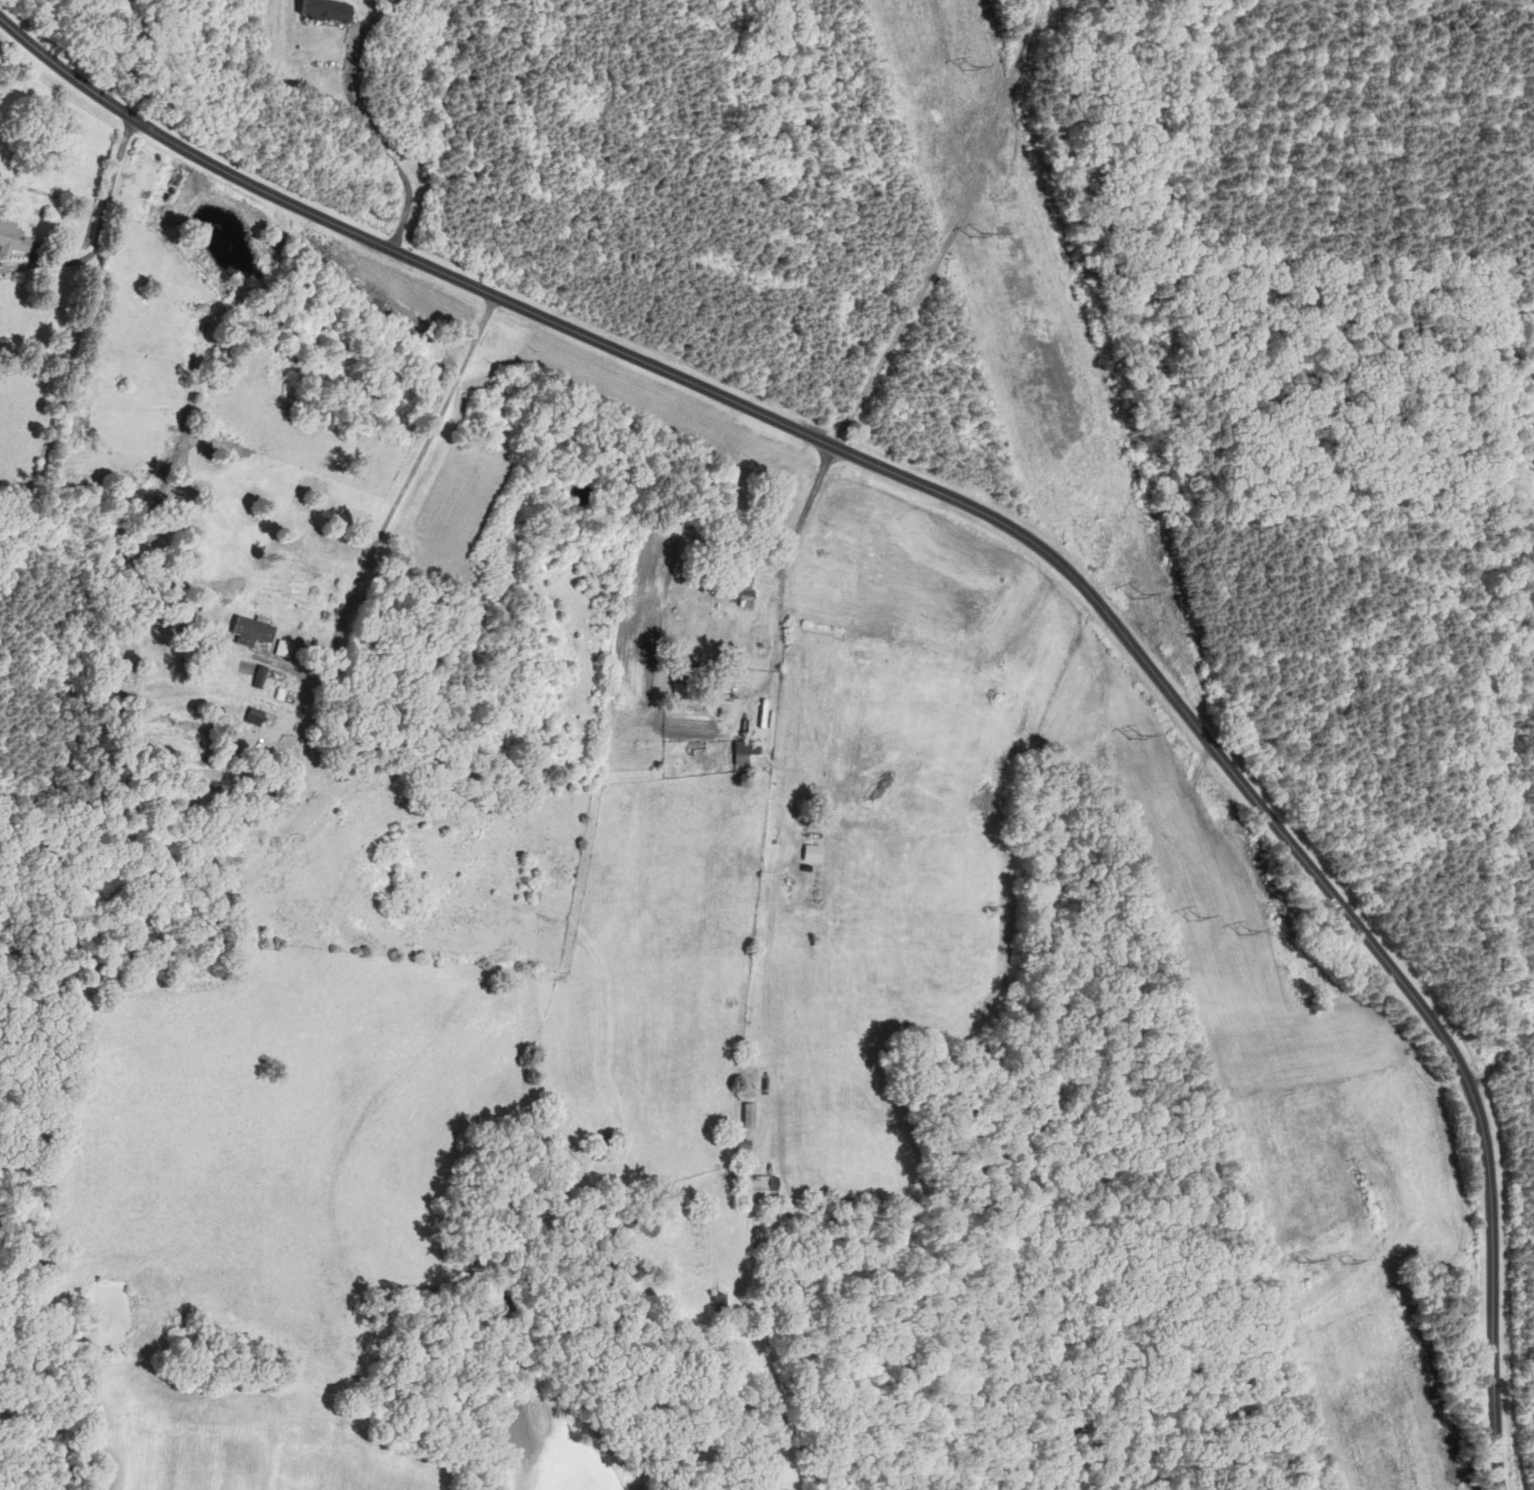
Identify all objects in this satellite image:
building: (327, 9)
power tower: (964, 67)
road: (381, 150)
road: (98, 229)
power tower: (985, 238)
building: (13, 239)
road: (901, 325)
road: (411, 480)
road: (1010, 525)
building: (741, 582)
power tower: (1133, 592)
building: (252, 632)
building: (120, 687)
building: (679, 690)
building: (254, 717)
power tower: (1149, 734)
building: (628, 750)
building: (745, 750)
power tower: (1199, 918)
power tower: (1241, 928)
road: (1503, 1051)
building: (748, 1115)
building: (607, 1140)
building: (762, 1183)
power tower: (1346, 1259)
power tower: (1316, 1262)
building: (719, 1302)

